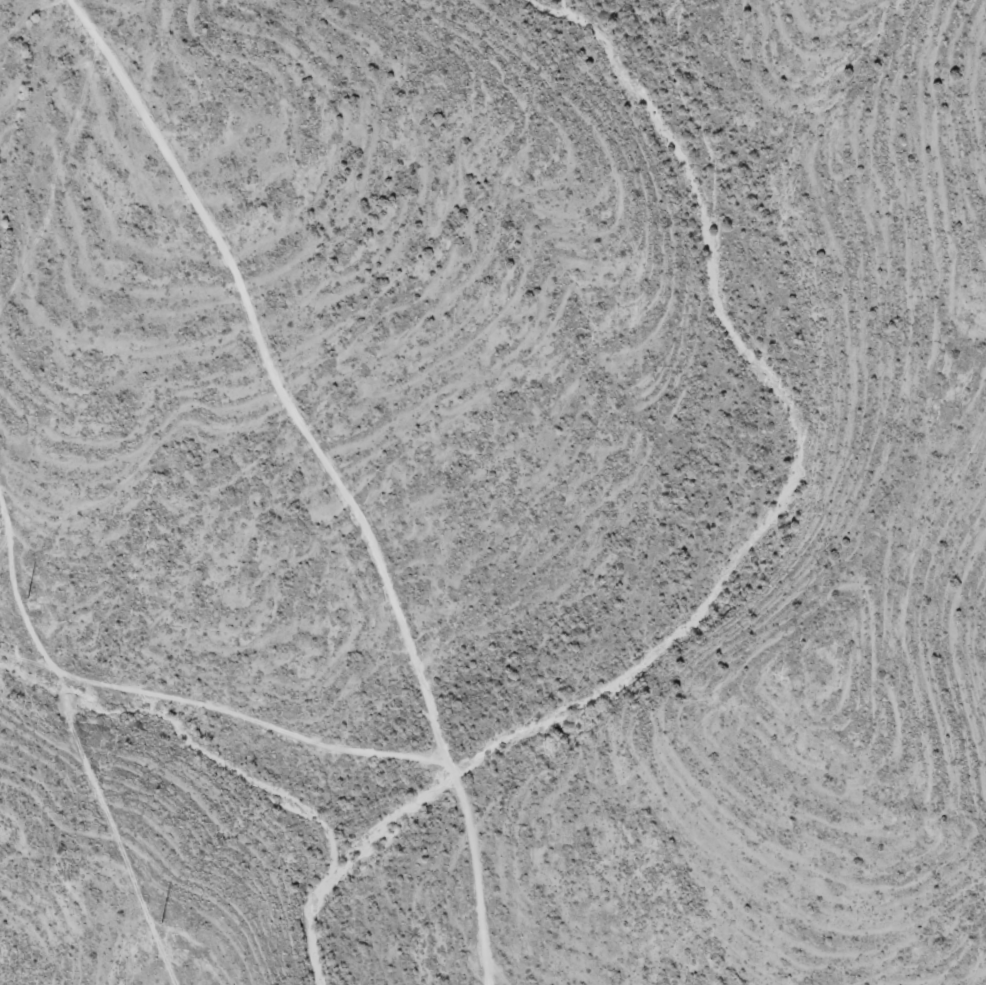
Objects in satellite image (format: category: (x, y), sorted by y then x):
road: (339, 472)
power tower: (27, 599)
power tower: (162, 917)

